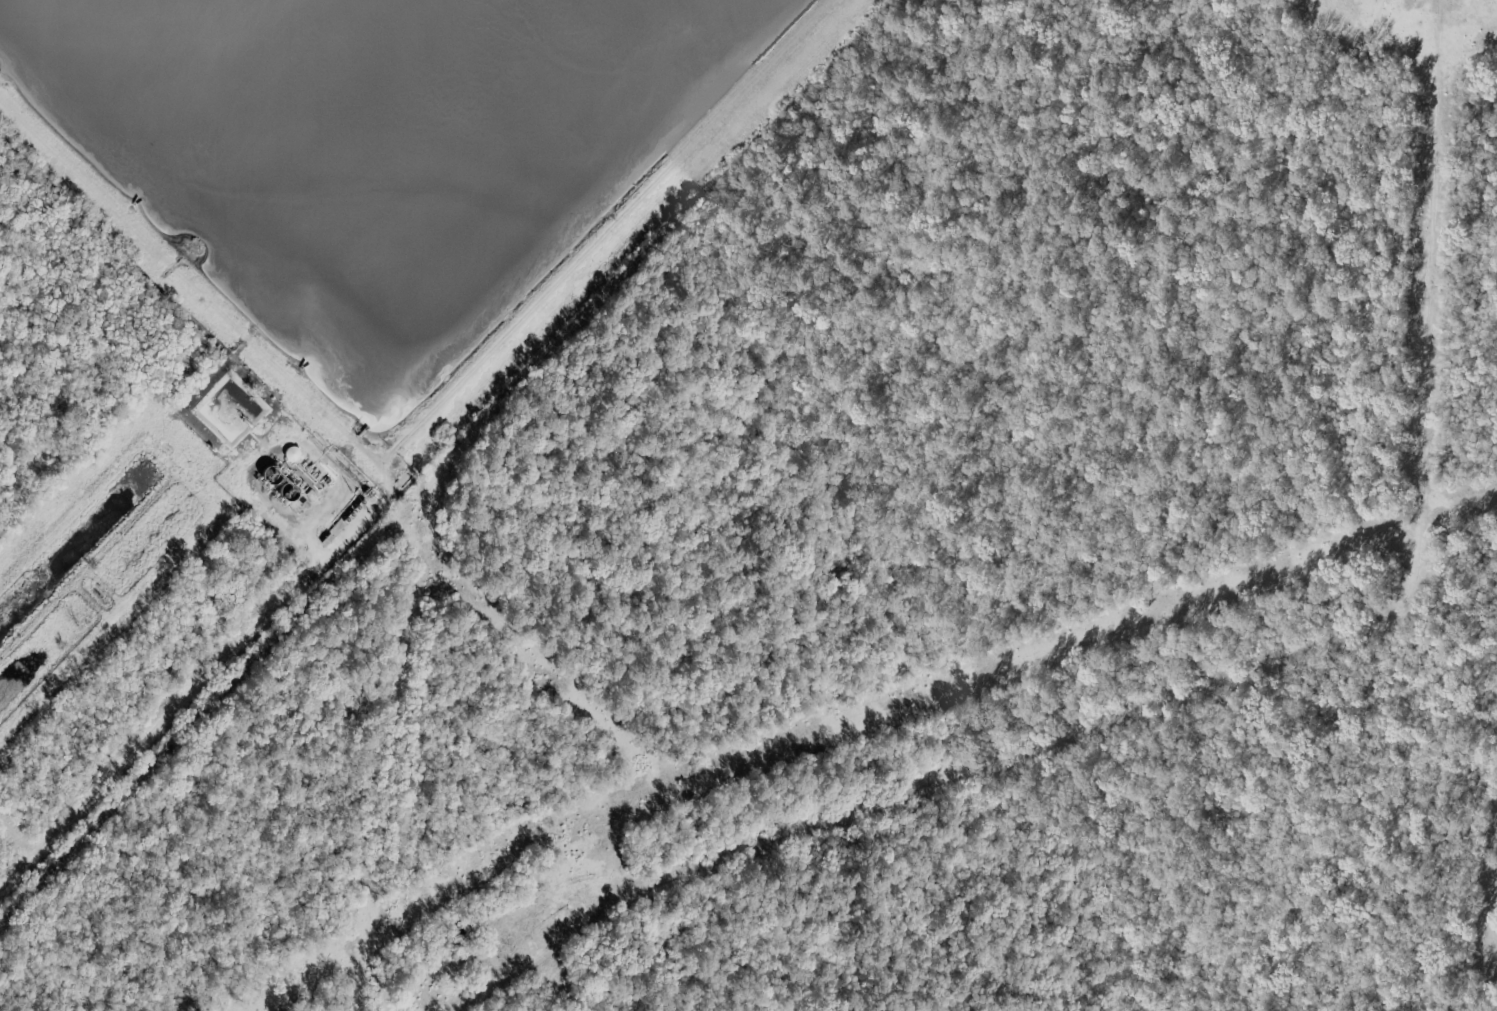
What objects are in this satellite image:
road: (208, 686)
road: (1213, 688)
road: (21, 835)

